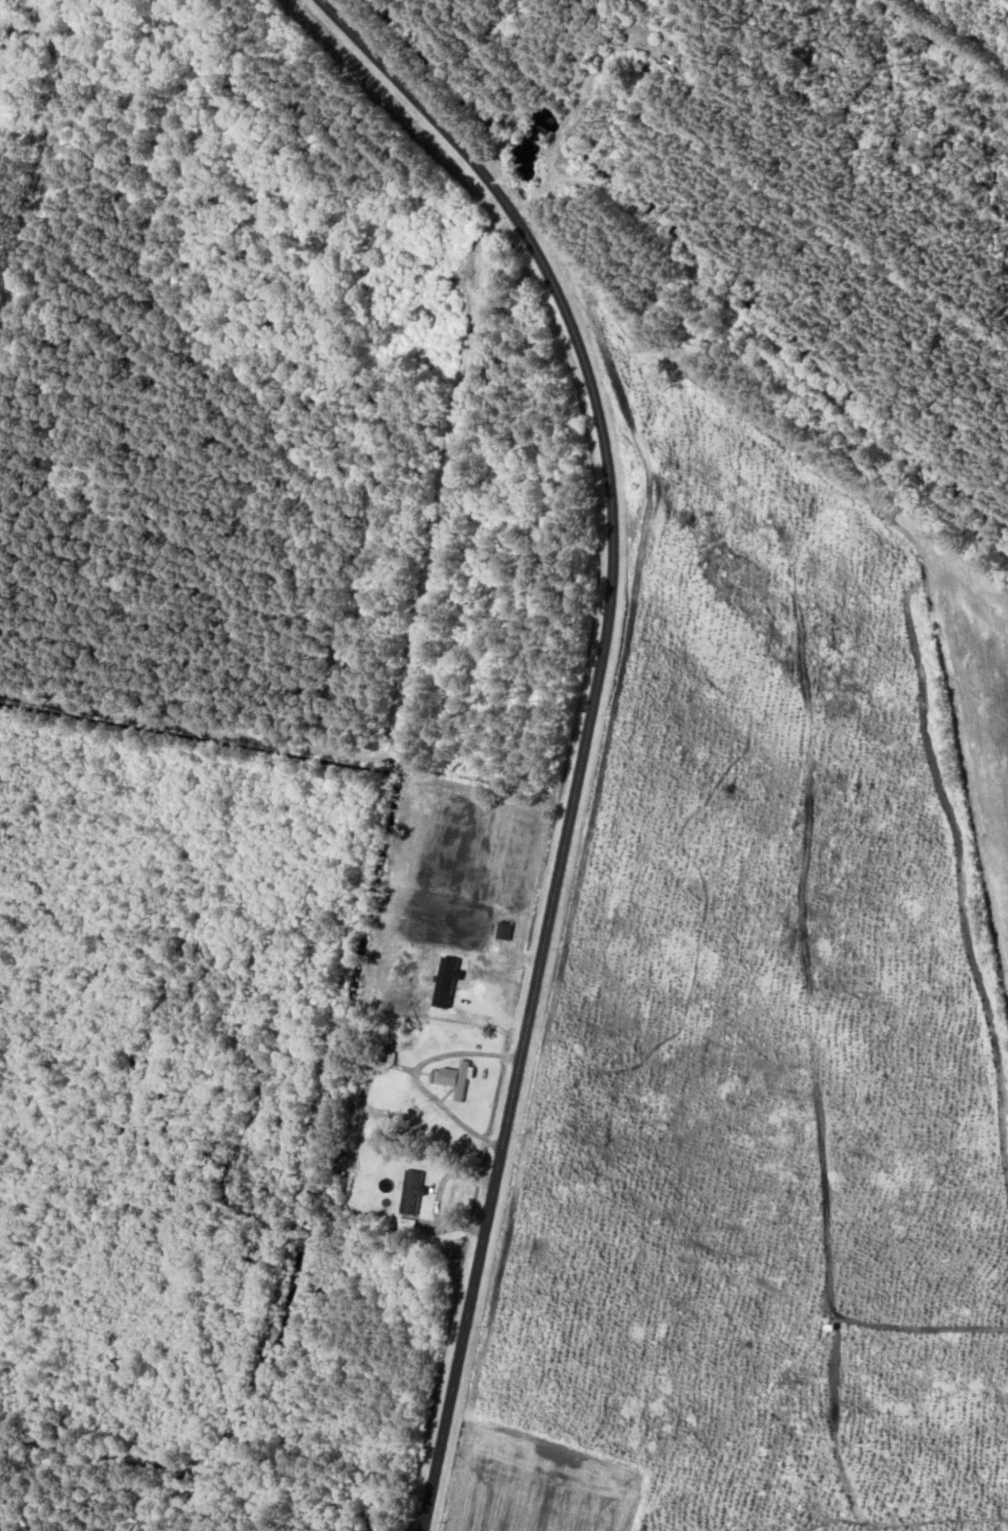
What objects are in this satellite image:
road: (487, 144)
dam: (515, 156)
road: (529, 202)
road: (588, 725)
road: (607, 737)
road: (959, 857)
building: (504, 933)
building: (382, 1057)
building: (455, 1081)
building: (410, 1194)
road: (828, 1291)
road: (835, 1428)
road: (902, 1523)

